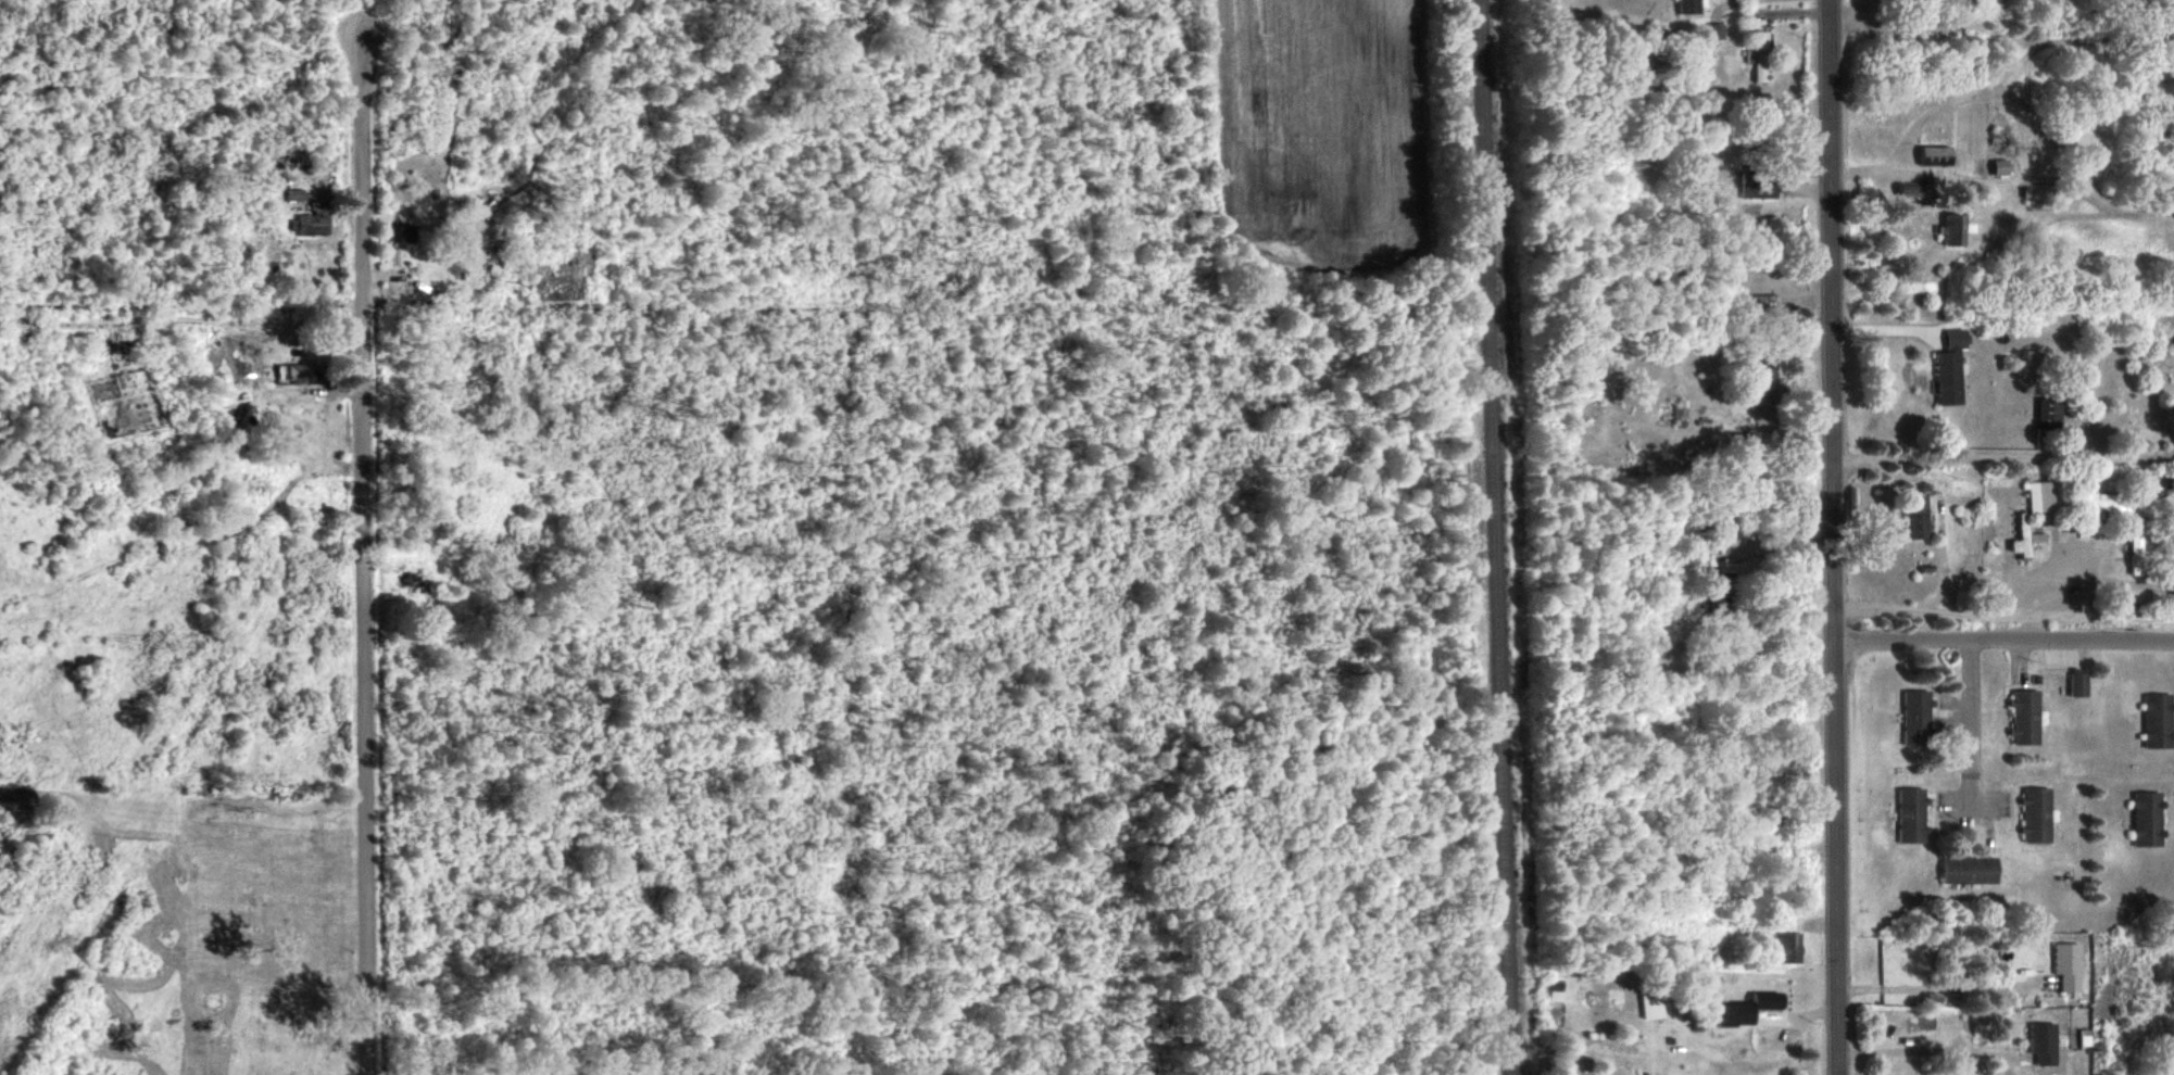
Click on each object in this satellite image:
road: (1714, 0)
building: (1691, 5)
road: (1908, 28)
building: (1717, 30)
building: (1759, 54)
building: (1936, 150)
building: (2000, 166)
road: (1885, 174)
building: (1760, 185)
building: (293, 194)
building: (311, 219)
building: (1953, 229)
building: (400, 232)
road: (2001, 318)
building: (1951, 367)
building: (305, 372)
building: (2049, 412)
road: (2005, 461)
building: (2044, 494)
building: (2108, 502)
building: (1917, 516)
building: (2023, 534)
road: (1836, 536)
railway: (1493, 537)
road: (1773, 544)
road: (363, 558)
road: (2006, 614)
road: (2007, 642)
building: (2078, 683)
building: (1917, 716)
building: (2025, 716)
building: (2159, 719)
road: (1971, 728)
building: (1911, 813)
building: (2037, 813)
building: (2148, 818)
building: (1970, 869)
building: (1790, 946)
building: (2069, 964)
building: (1555, 991)
building: (1650, 1004)
building: (1748, 1007)
building: (2044, 1042)
road: (1934, 1047)

